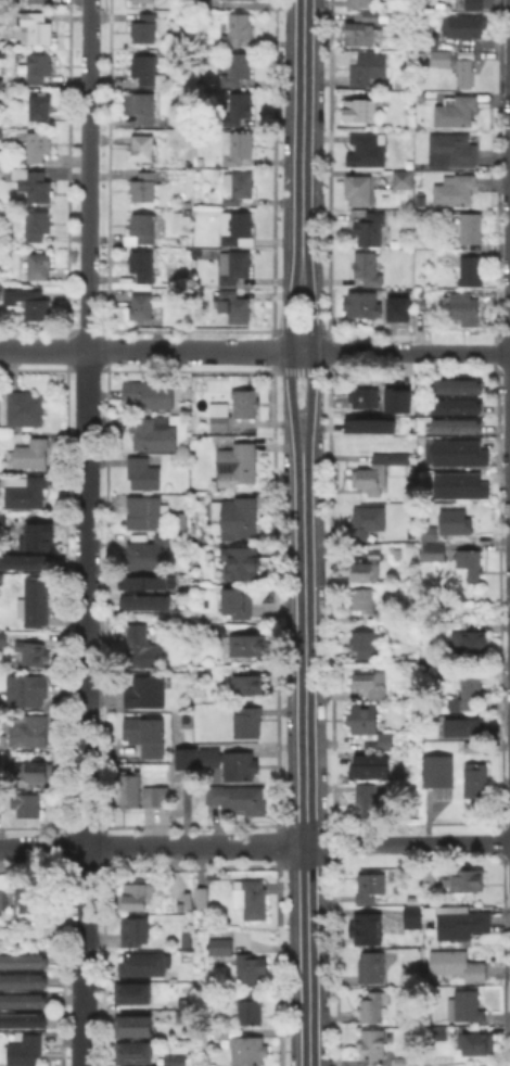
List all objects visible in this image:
building: (142, 0)
building: (360, 2)
building: (36, 3)
building: (202, 3)
building: (472, 4)
building: (373, 16)
building: (463, 24)
building: (34, 27)
building: (143, 27)
building: (239, 29)
building: (360, 33)
building: (429, 40)
road: (480, 42)
building: (1, 52)
building: (461, 54)
building: (441, 56)
building: (38, 66)
building: (238, 67)
building: (367, 67)
building: (148, 71)
building: (466, 73)
building: (41, 106)
building: (142, 107)
building: (238, 107)
building: (362, 109)
building: (456, 110)
building: (0, 131)
building: (37, 144)
building: (239, 145)
building: (142, 148)
building: (367, 149)
building: (456, 149)
building: (403, 178)
building: (33, 183)
building: (145, 188)
building: (240, 188)
building: (359, 189)
building: (456, 190)
building: (200, 201)
building: (407, 201)
building: (420, 204)
building: (37, 224)
building: (142, 226)
building: (238, 228)
building: (371, 228)
building: (471, 228)
building: (142, 265)
building: (39, 266)
building: (235, 268)
building: (370, 268)
building: (471, 270)
building: (28, 302)
building: (370, 304)
building: (423, 304)
building: (141, 305)
building: (234, 305)
building: (396, 307)
building: (463, 308)
road: (150, 348)
road: (405, 351)
building: (457, 385)
building: (150, 396)
building: (394, 397)
building: (365, 398)
building: (246, 403)
building: (456, 405)
building: (21, 407)
building: (220, 423)
building: (367, 424)
building: (456, 424)
building: (154, 434)
building: (448, 452)
building: (30, 454)
building: (237, 464)
building: (374, 471)
building: (143, 473)
building: (458, 483)
building: (24, 491)
building: (166, 508)
building: (145, 511)
building: (237, 516)
building: (180, 521)
building: (456, 521)
building: (368, 522)
building: (3, 523)
road: (85, 532)
road: (303, 532)
building: (431, 532)
building: (34, 535)
building: (395, 551)
building: (433, 553)
building: (149, 555)
building: (21, 560)
building: (241, 561)
building: (471, 562)
building: (368, 566)
building: (150, 583)
building: (35, 600)
building: (364, 600)
building: (150, 602)
building: (239, 605)
building: (381, 614)
building: (214, 630)
building: (3, 639)
building: (466, 640)
building: (362, 643)
building: (144, 645)
building: (247, 646)
building: (31, 652)
building: (250, 683)
building: (373, 684)
building: (27, 689)
building: (472, 691)
building: (148, 694)
building: (454, 706)
building: (247, 721)
building: (371, 725)
building: (459, 727)
building: (28, 732)
building: (145, 735)
building: (3, 743)
building: (474, 747)
building: (215, 760)
building: (367, 764)
building: (437, 772)
building: (34, 773)
building: (476, 782)
building: (131, 789)
building: (156, 796)
building: (233, 799)
building: (367, 800)
building: (27, 805)
road: (409, 843)
road: (153, 846)
building: (430, 879)
building: (468, 881)
building: (370, 888)
building: (136, 898)
building: (202, 898)
building: (4, 899)
building: (34, 899)
building: (252, 899)
building: (413, 925)
building: (462, 926)
building: (367, 930)
building: (137, 932)
building: (190, 940)
building: (221, 951)
building: (24, 962)
building: (143, 965)
building: (459, 966)
building: (371, 968)
building: (251, 969)
building: (23, 981)
building: (130, 992)
building: (24, 1002)
building: (189, 1004)
building: (374, 1006)
building: (251, 1007)
building: (467, 1007)
building: (187, 1016)
building: (24, 1023)
building: (132, 1025)
building: (221, 1035)
building: (374, 1045)
building: (476, 1045)
building: (130, 1051)
building: (250, 1051)
building: (25, 1052)
building: (174, 1059)
building: (403, 1062)

